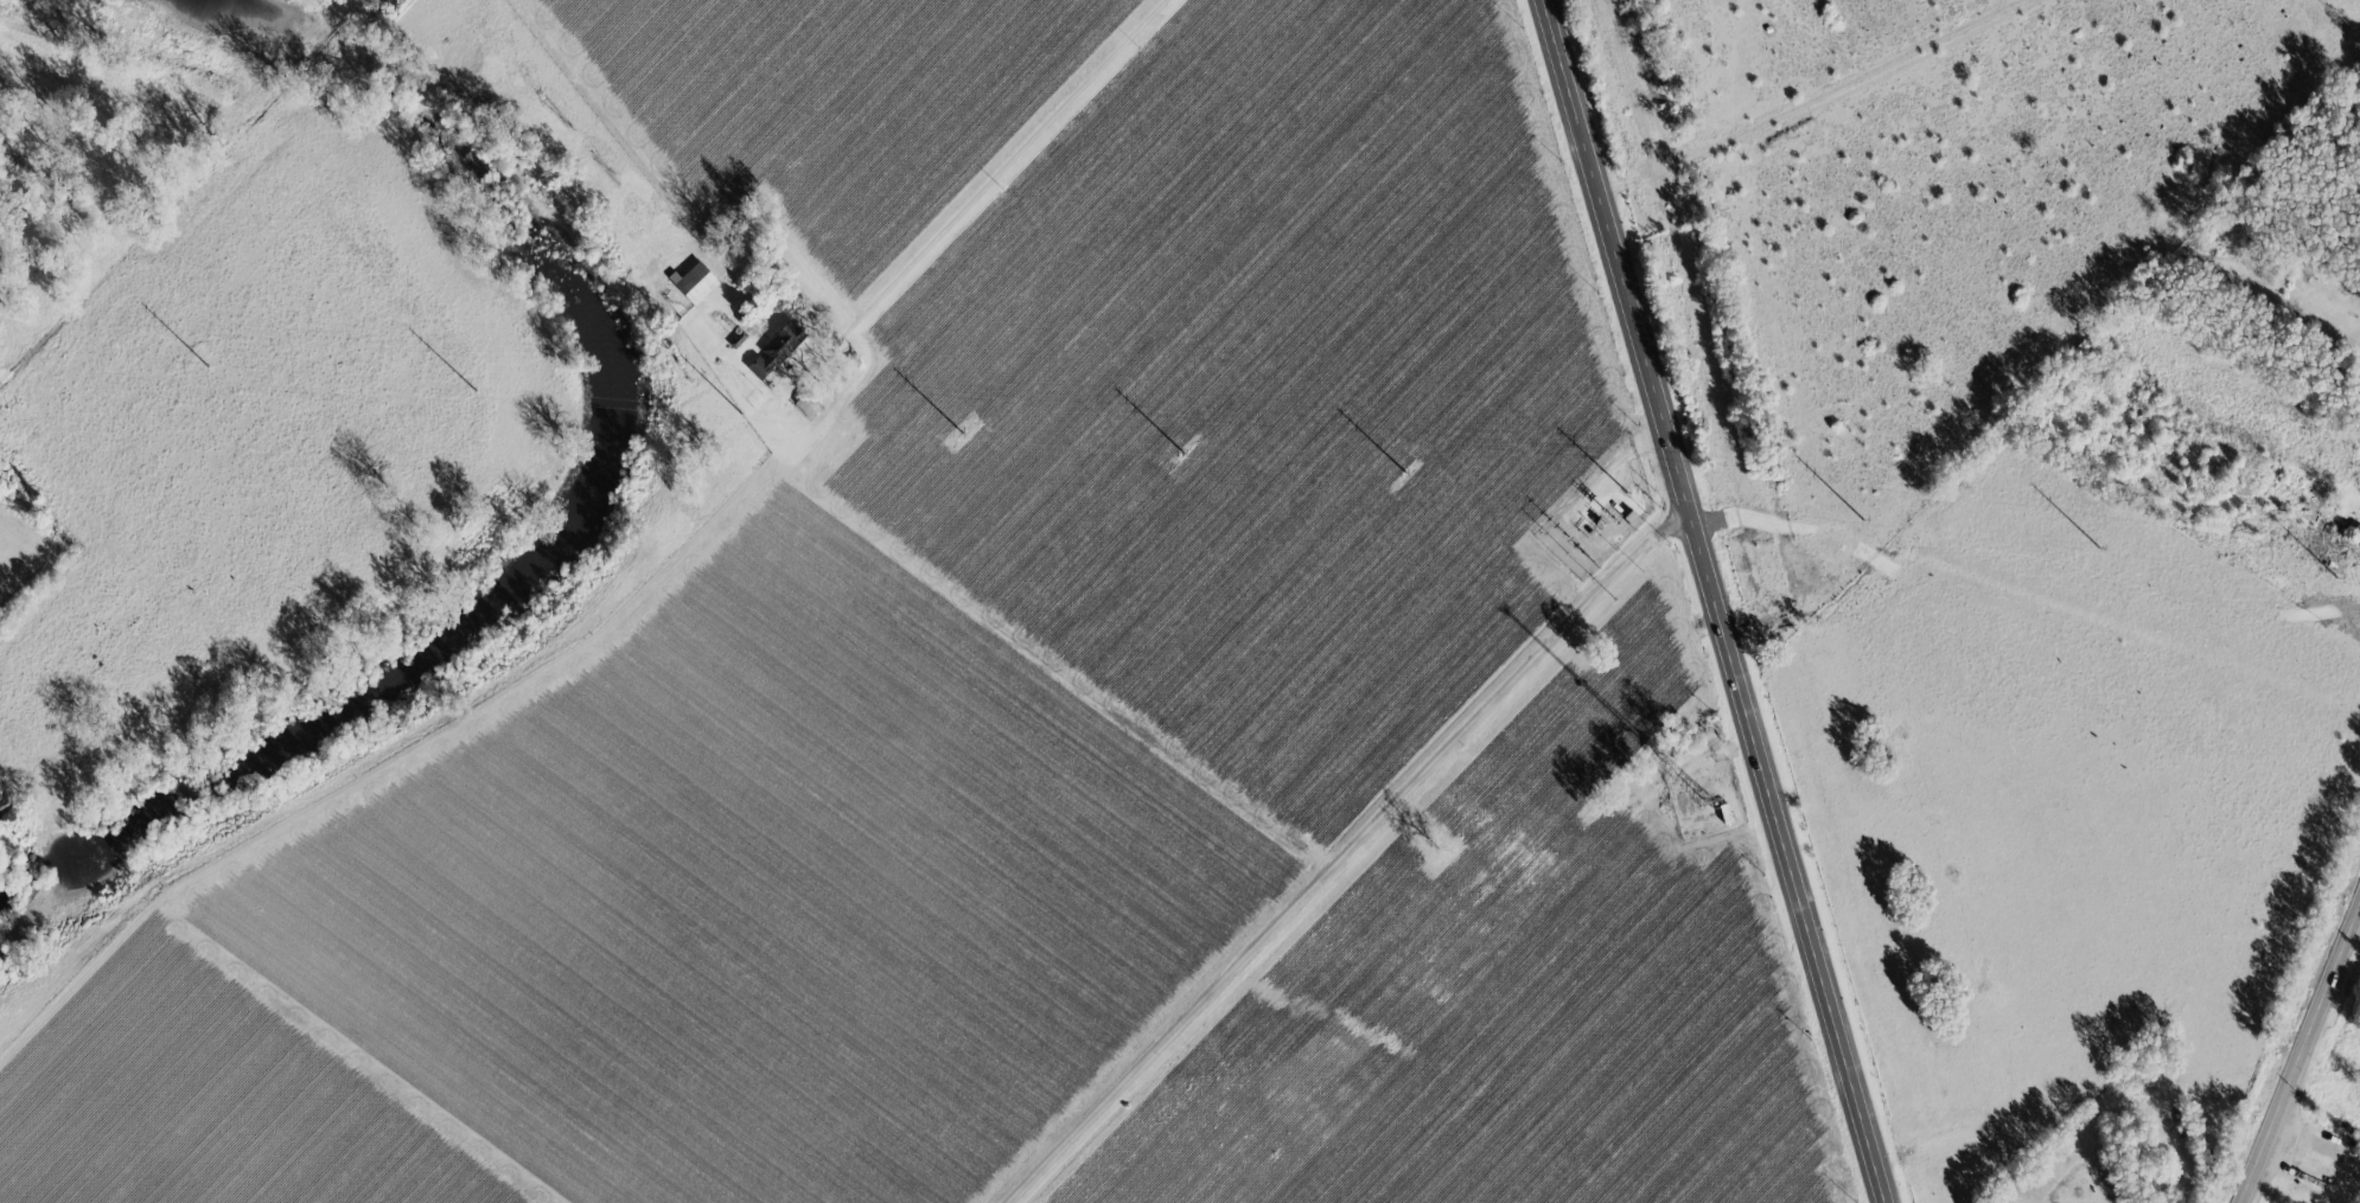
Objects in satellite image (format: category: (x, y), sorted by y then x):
road: (1013, 156)
building: (697, 281)
building: (778, 350)
power substation: (1593, 513)
power tower: (1608, 516)
building: (2354, 535)
road: (1714, 601)
railway: (1781, 601)
road: (1346, 852)
road: (2297, 1047)
road: (2352, 1194)

